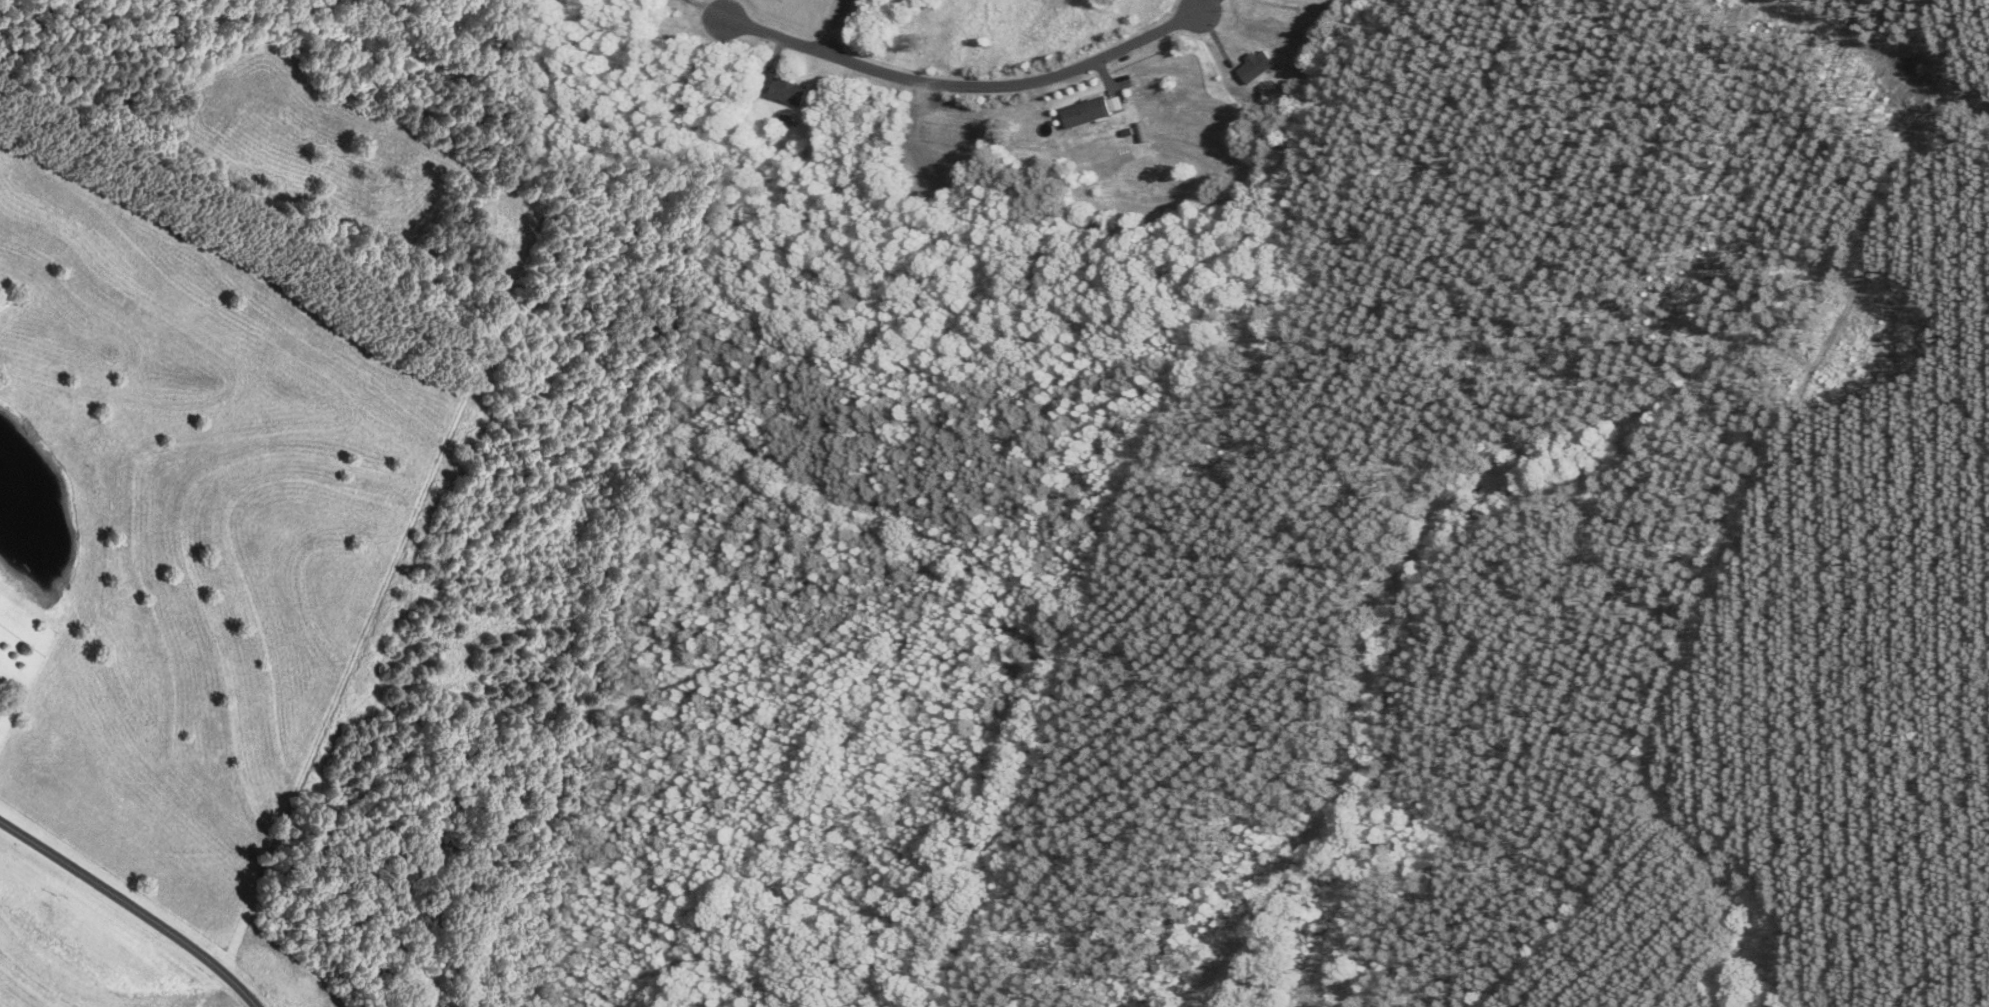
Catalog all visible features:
road: (809, 43)
road: (1023, 85)
building: (788, 92)
building: (1087, 113)
road: (136, 908)
building: (425, 963)

